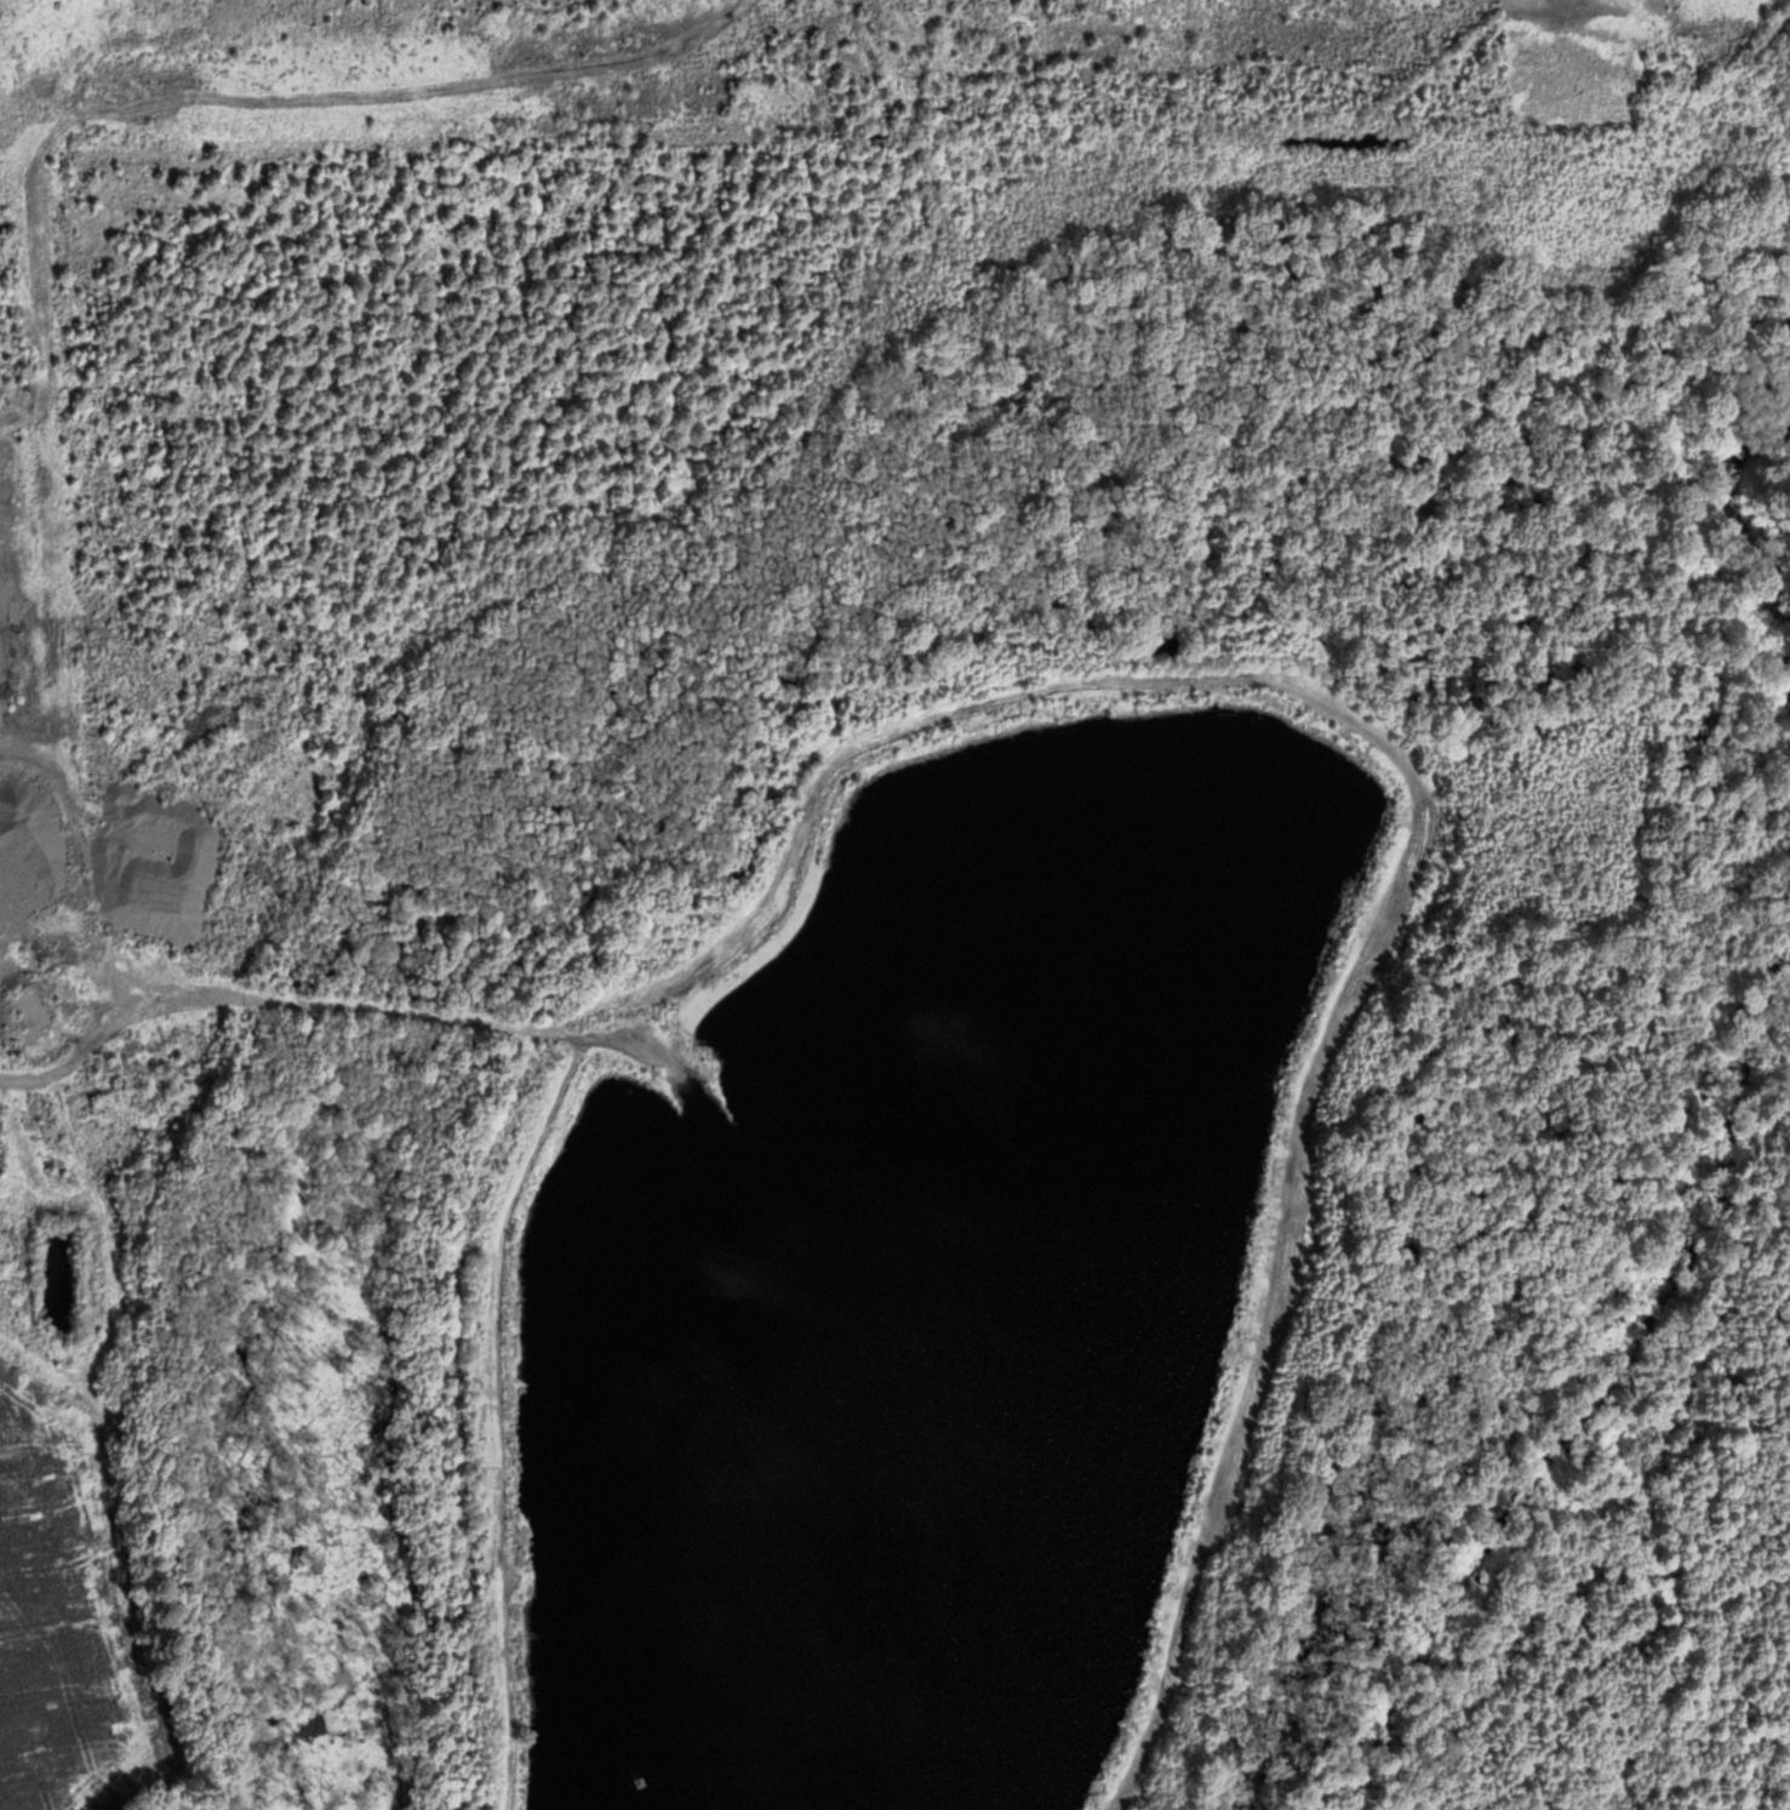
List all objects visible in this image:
road: (0, 13)

